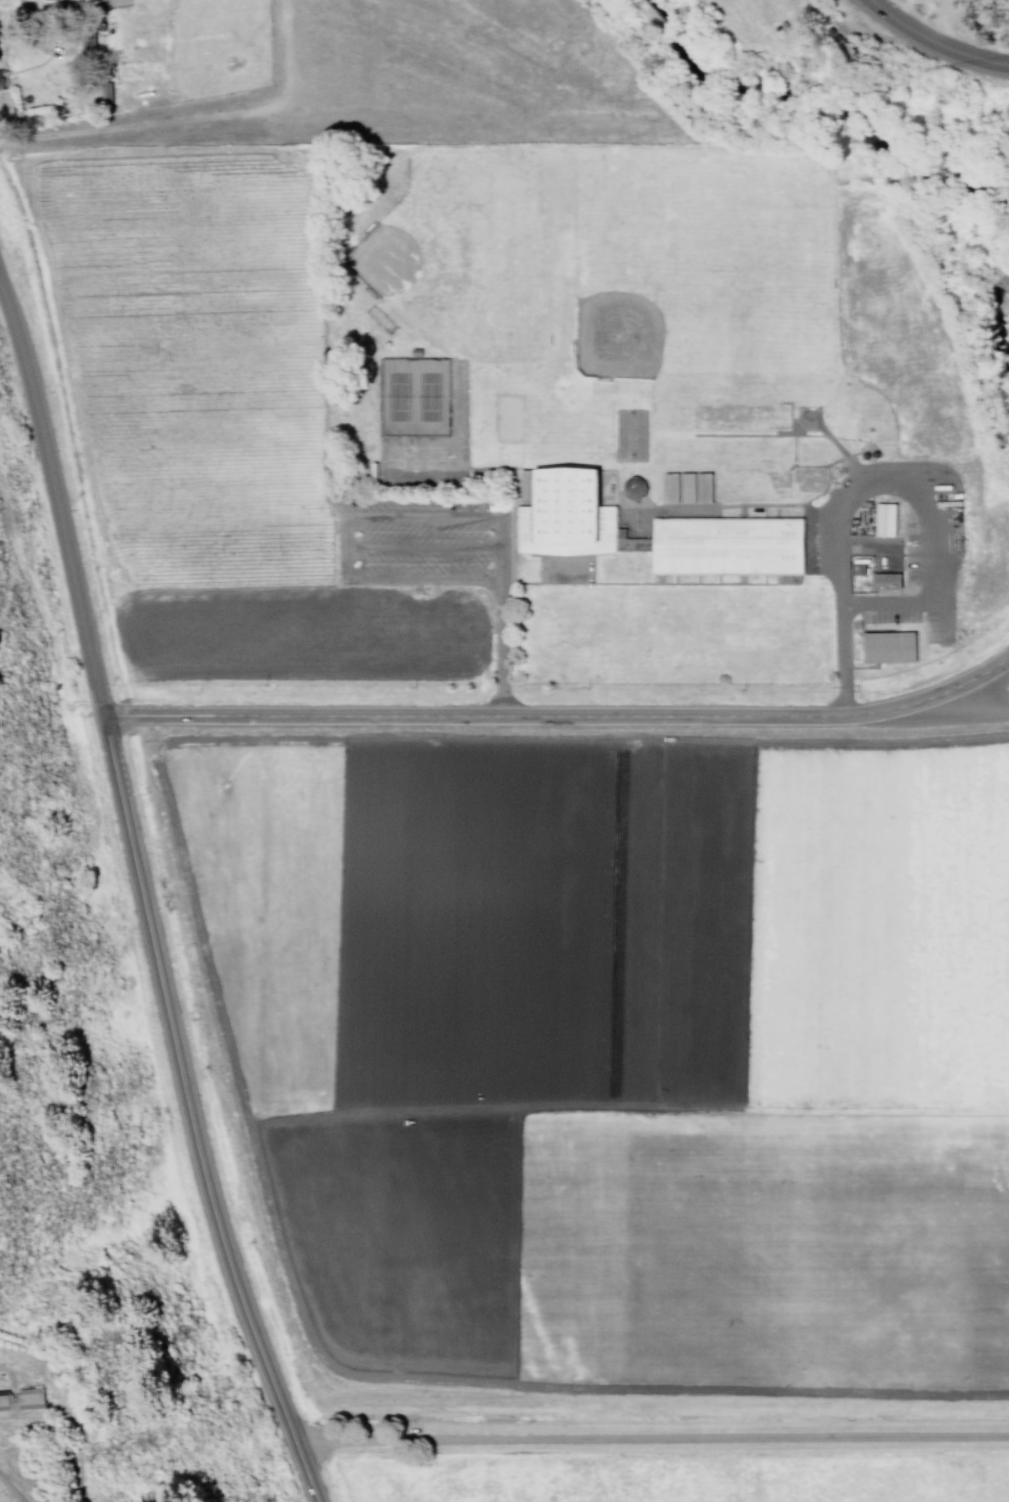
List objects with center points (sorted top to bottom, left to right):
road: (932, 43)
building: (0, 82)
park: (738, 271)
park: (414, 397)
building: (634, 486)
building: (687, 487)
road: (912, 499)
building: (562, 515)
road: (395, 516)
road: (473, 517)
building: (884, 520)
parking lot: (423, 541)
building: (629, 541)
road: (345, 546)
road: (423, 547)
building: (725, 547)
road: (501, 550)
parking lot: (928, 552)
road: (424, 579)
building: (884, 582)
building: (887, 648)
road: (502, 649)
road: (843, 668)
road: (972, 710)
road: (559, 713)
crop: (579, 839)
road: (140, 909)
road: (363, 1443)
road: (722, 1444)
road: (11, 1491)

